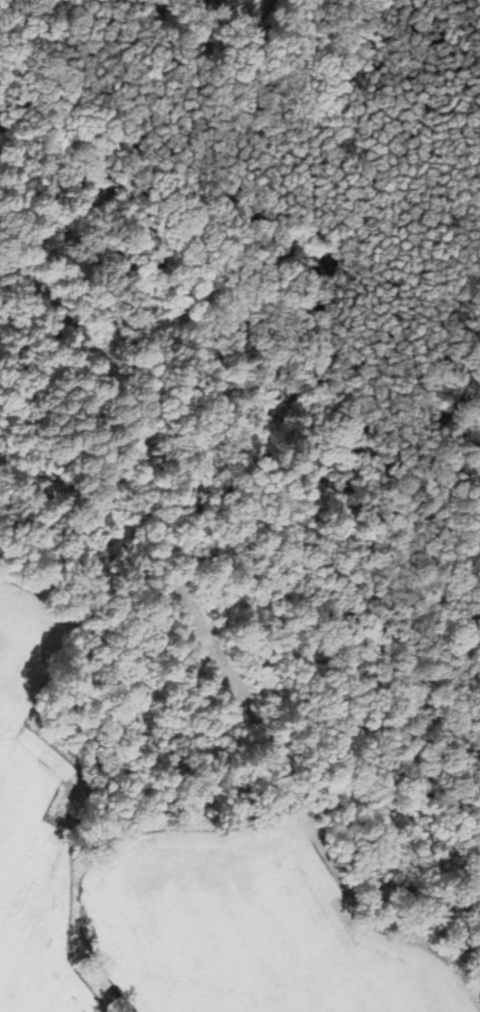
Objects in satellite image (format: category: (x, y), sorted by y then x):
road: (174, 498)

